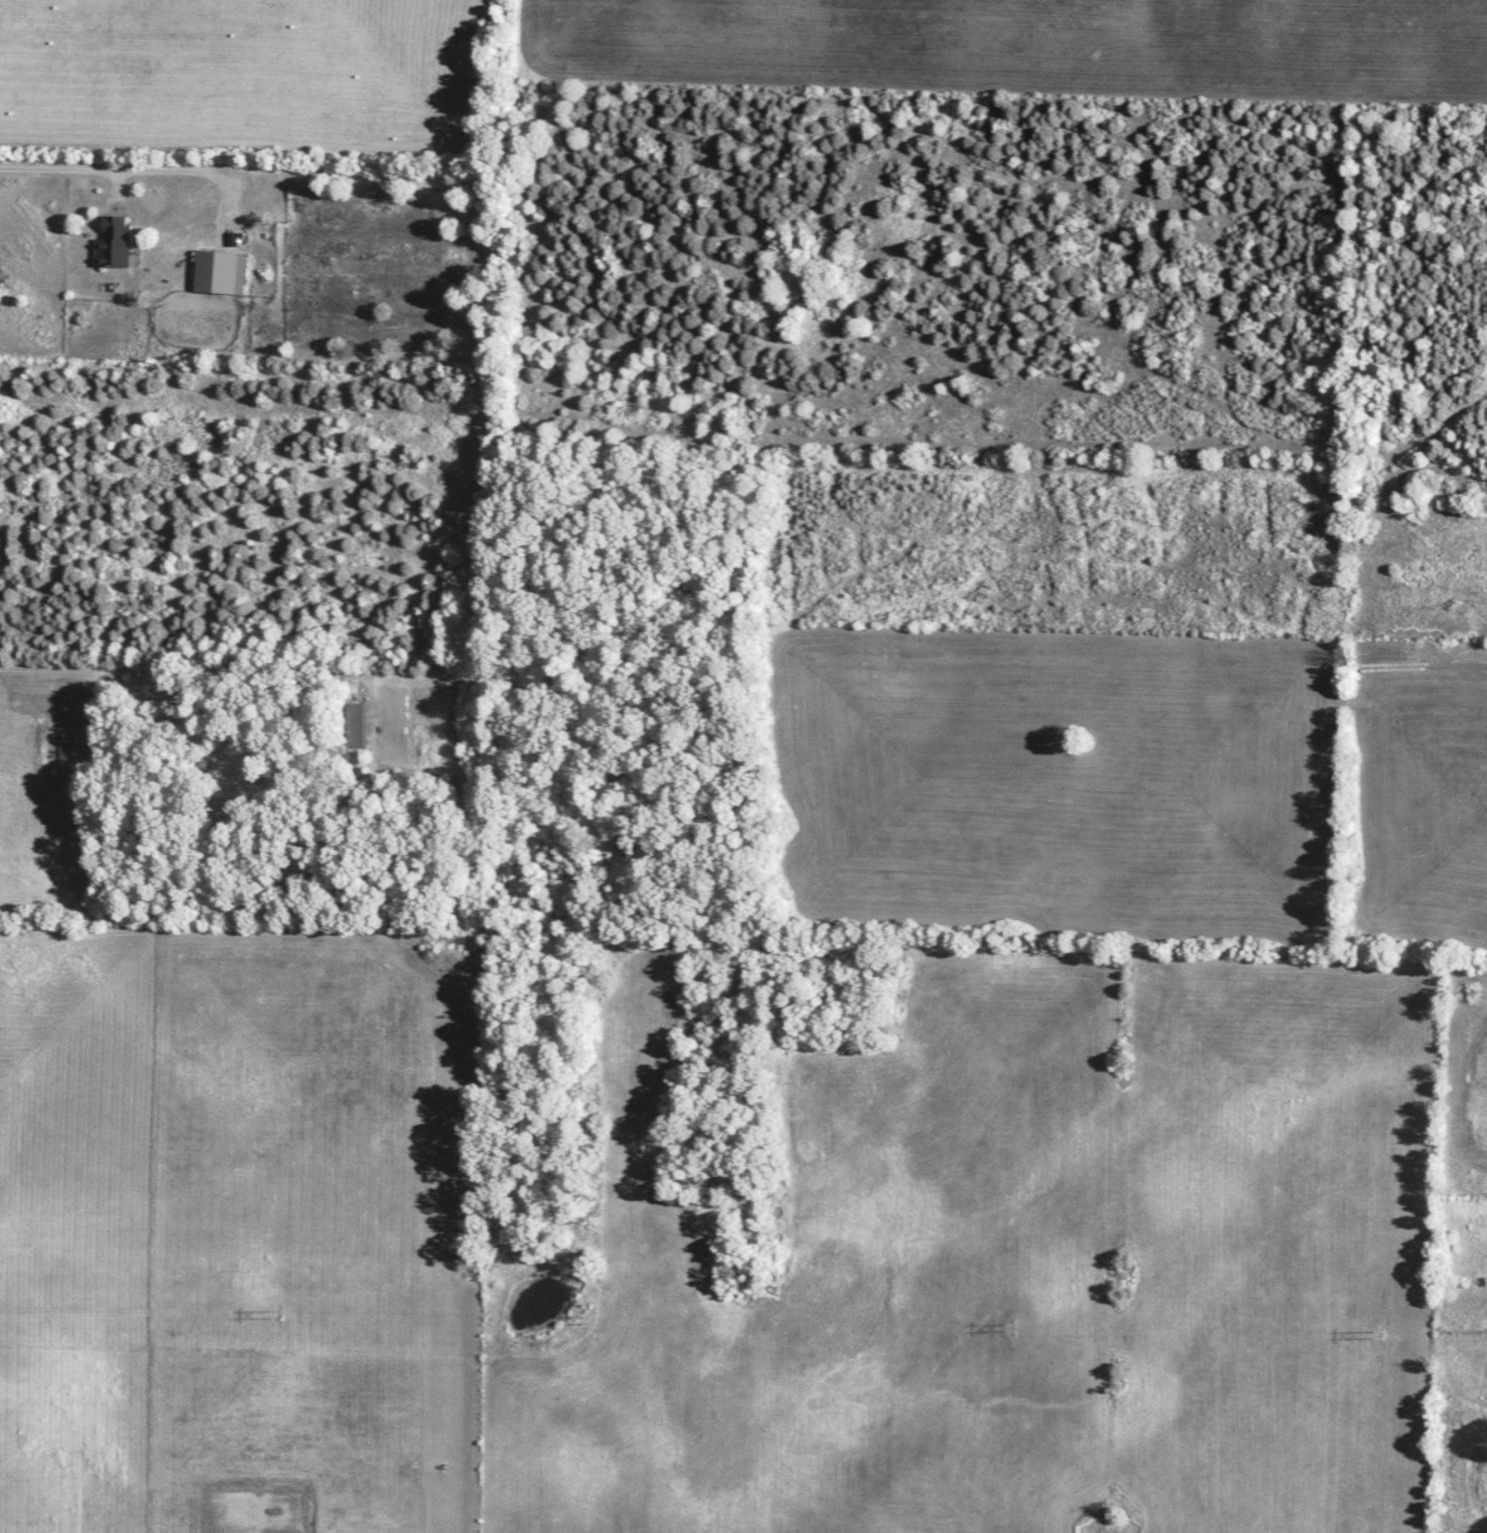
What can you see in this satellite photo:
road: (99, 165)
building: (112, 243)
building: (219, 273)
building: (354, 727)
power tower: (274, 1315)
power tower: (586, 1320)
power tower: (1008, 1326)
power tower: (1378, 1336)

